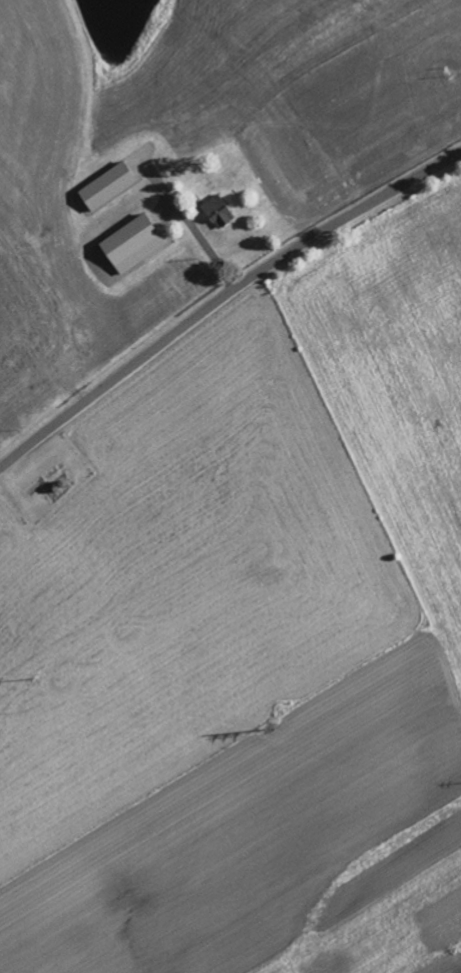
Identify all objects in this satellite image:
building: (109, 185)
building: (218, 208)
building: (135, 242)
road: (222, 295)

